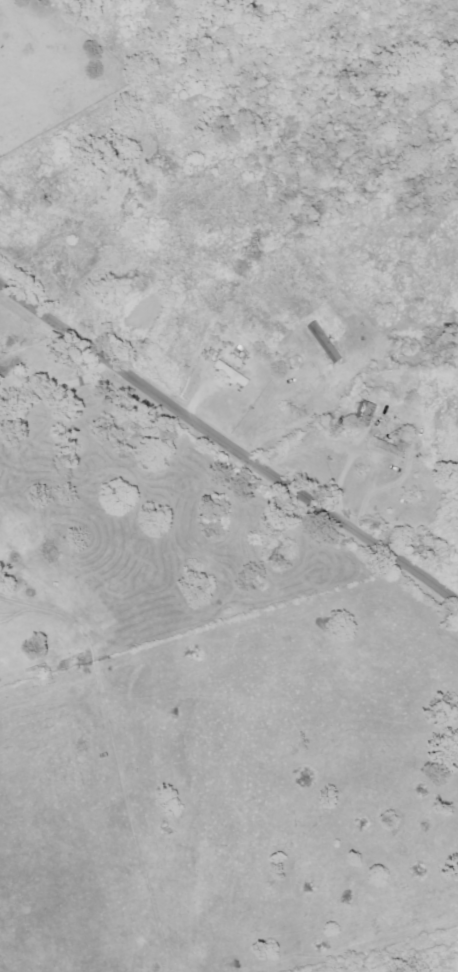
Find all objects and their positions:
building: (326, 342)
building: (233, 374)
road: (55, 386)
building: (367, 413)
road: (231, 443)

